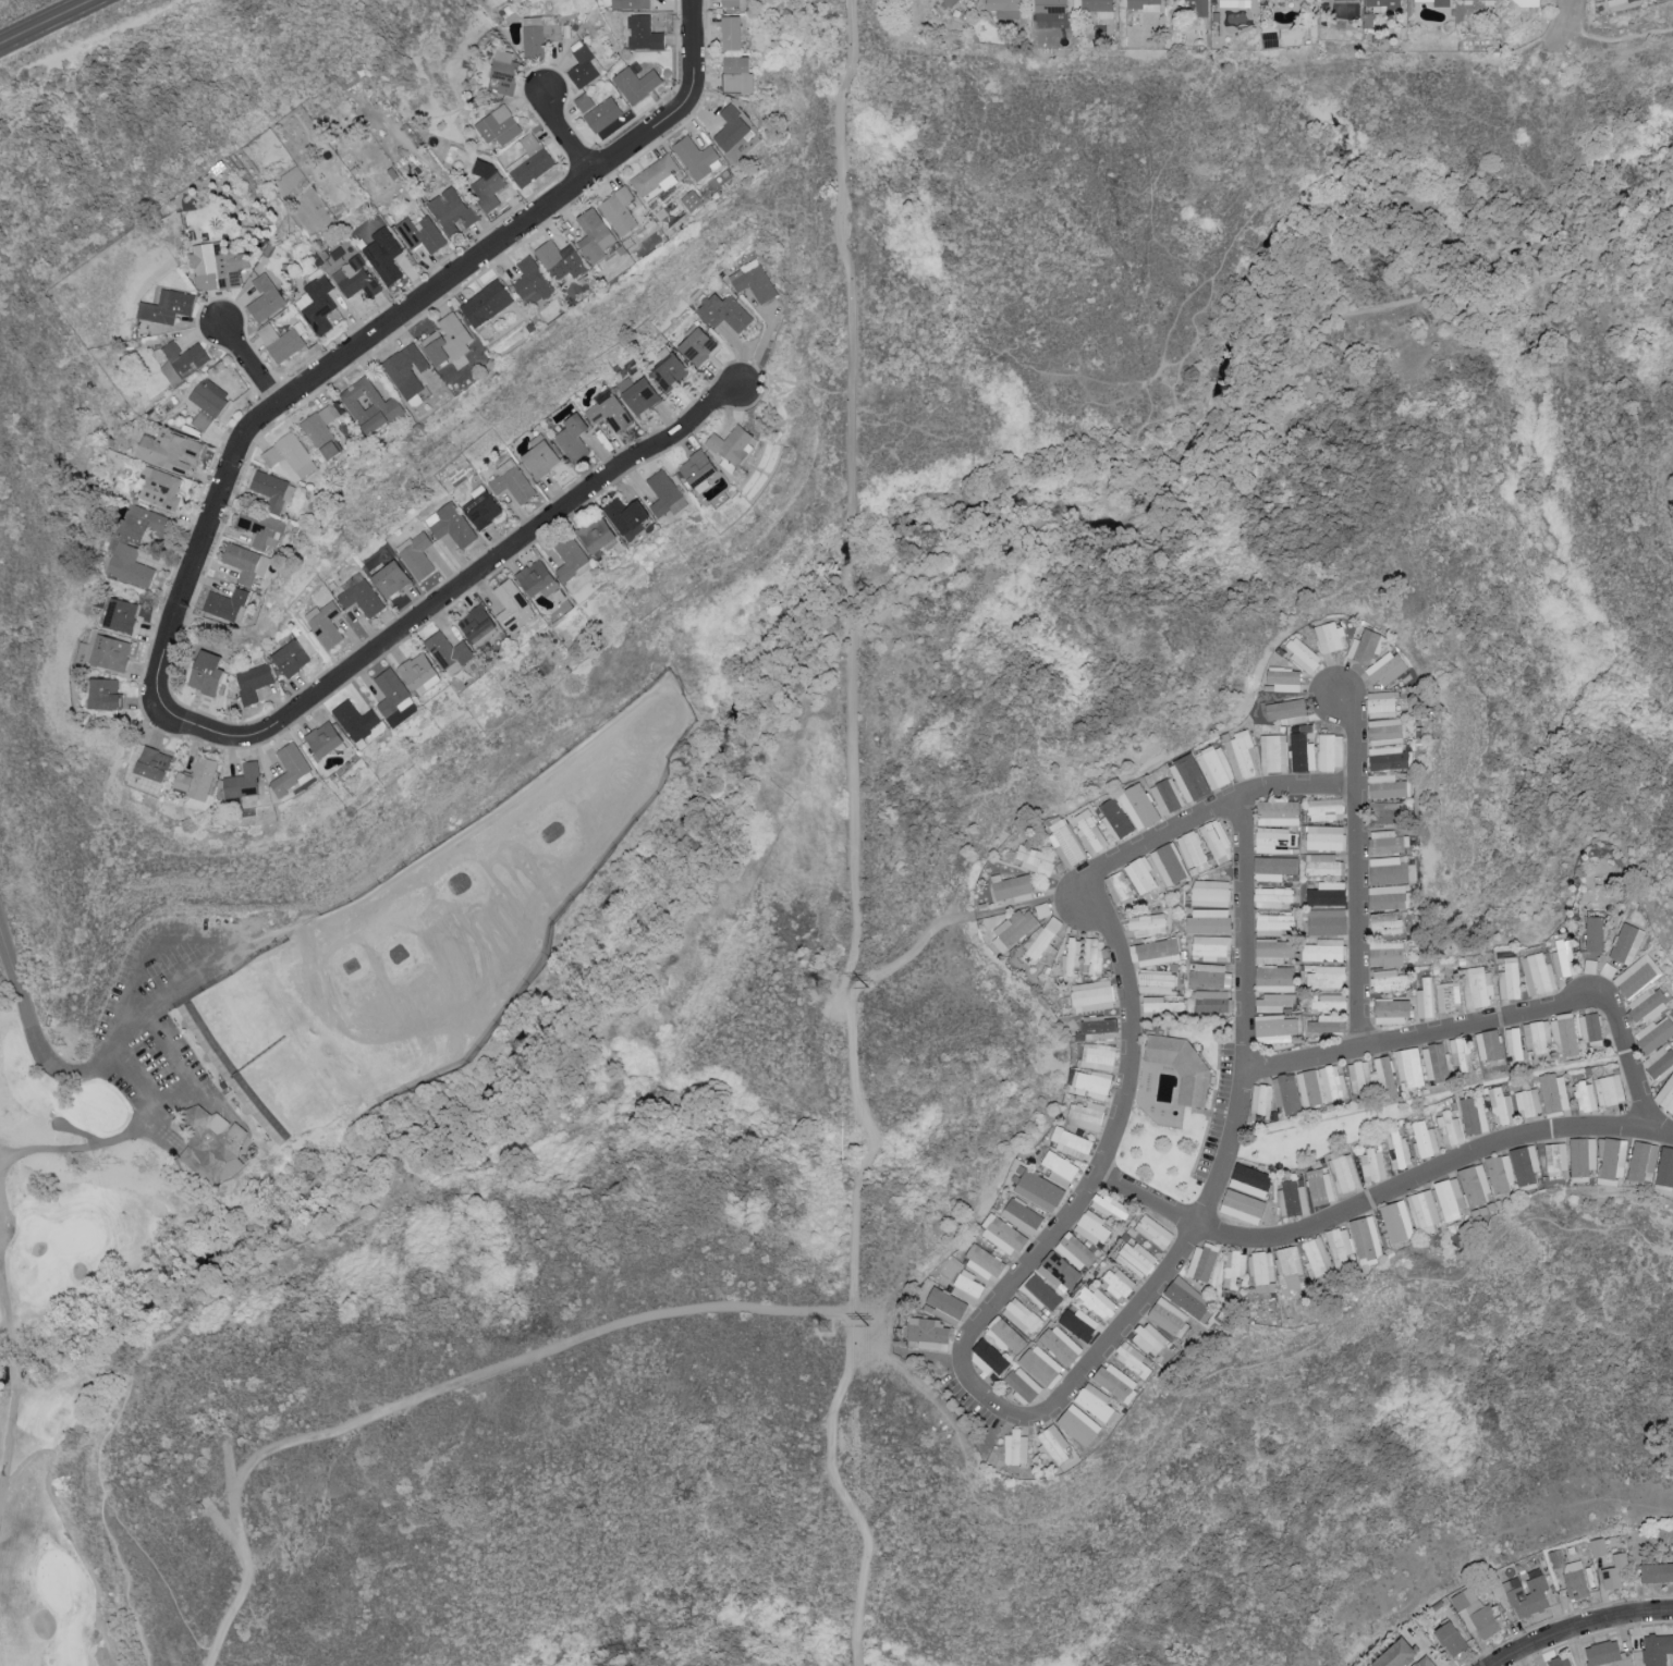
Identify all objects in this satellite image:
building: (1381, 1)
building: (1615, 1)
building: (730, 2)
building: (951, 2)
building: (1234, 2)
building: (1440, 2)
building: (1527, 2)
building: (633, 3)
building: (1143, 3)
building: (1050, 5)
building: (1099, 7)
building: (1197, 7)
building: (1004, 8)
road: (1575, 13)
road: (51, 25)
building: (731, 32)
building: (642, 33)
building: (538, 37)
road: (1620, 39)
road: (696, 47)
building: (583, 64)
building: (503, 70)
building: (737, 73)
building: (635, 83)
building: (583, 100)
building: (601, 113)
building: (498, 124)
building: (731, 127)
road: (560, 133)
building: (696, 156)
building: (529, 160)
building: (656, 174)
building: (487, 187)
building: (691, 199)
building: (450, 209)
building: (619, 209)
building: (420, 232)
building: (594, 234)
road: (1414, 238)
building: (383, 255)
building: (560, 258)
building: (216, 266)
building: (354, 277)
building: (530, 281)
building: (753, 282)
building: (265, 297)
building: (485, 302)
building: (317, 304)
building: (166, 305)
building: (722, 310)
building: (447, 339)
building: (281, 341)
building: (696, 344)
building: (181, 359)
road: (253, 367)
building: (406, 368)
building: (668, 370)
road: (327, 371)
building: (636, 393)
road: (1250, 394)
building: (207, 401)
building: (369, 405)
building: (609, 412)
building: (322, 429)
building: (572, 437)
building: (730, 444)
building: (169, 450)
building: (539, 455)
building: (290, 457)
building: (696, 468)
building: (512, 480)
building: (160, 487)
building: (272, 489)
building: (664, 493)
building: (480, 506)
building: (623, 513)
building: (141, 522)
building: (450, 524)
building: (260, 527)
building: (594, 534)
building: (416, 554)
building: (570, 559)
building: (245, 562)
building: (130, 565)
road: (485, 573)
building: (389, 578)
building: (535, 578)
building: (359, 595)
building: (511, 602)
building: (227, 603)
building: (119, 614)
building: (323, 622)
building: (476, 625)
building: (1329, 636)
building: (1365, 646)
building: (84, 649)
building: (447, 651)
building: (109, 652)
building: (1303, 653)
building: (290, 657)
building: (1384, 669)
building: (205, 672)
building: (418, 673)
building: (1282, 678)
building: (252, 681)
building: (391, 693)
building: (103, 694)
building: (1380, 703)
building: (1286, 710)
building: (354, 719)
building: (1384, 731)
building: (322, 738)
building: (1302, 748)
building: (1330, 750)
building: (1241, 752)
building: (1273, 752)
building: (1388, 758)
building: (151, 763)
building: (1213, 765)
building: (290, 767)
building: (1188, 777)
building: (195, 779)
building: (242, 781)
building: (1385, 785)
building: (1165, 795)
building: (1138, 805)
building: (1326, 808)
building: (1381, 809)
building: (1279, 811)
building: (1114, 819)
building: (1089, 831)
building: (1324, 836)
road: (850, 837)
building: (1274, 840)
building: (1217, 841)
building: (1064, 842)
building: (1385, 842)
building: (1193, 850)
building: (1034, 859)
building: (1169, 863)
building: (1323, 863)
building: (1273, 867)
road: (1357, 869)
building: (1388, 869)
building: (1141, 874)
building: (1011, 885)
building: (1120, 887)
building: (1210, 892)
building: (1327, 893)
building: (1272, 896)
building: (1388, 896)
park: (822, 899)
road: (1030, 904)
building: (1042, 909)
building: (1207, 918)
building: (1327, 920)
building: (1274, 922)
building: (1148, 923)
building: (1384, 923)
building: (1012, 928)
building: (1593, 933)
building: (1043, 935)
road: (197, 936)
building: (1626, 943)
building: (1211, 946)
building: (1323, 950)
building: (1273, 951)
road: (915, 952)
building: (1155, 952)
building: (1385, 953)
building: (1094, 955)
building: (1072, 956)
building: (1563, 957)
building: (1589, 965)
building: (1538, 973)
building: (1209, 975)
building: (1637, 975)
building: (1326, 976)
building: (1274, 978)
building: (1510, 978)
building: (1389, 979)
building: (1157, 980)
building: (1477, 985)
power tower: (822, 988)
power tower: (868, 988)
building: (1092, 994)
building: (1448, 996)
building: (1426, 997)
building: (1211, 1001)
building: (1273, 1002)
building: (1329, 1002)
building: (1161, 1004)
building: (1647, 1004)
building: (1391, 1010)
road: (1499, 1015)
parking lot: (163, 1019)
building: (1328, 1022)
building: (1097, 1027)
building: (1274, 1028)
building: (1590, 1028)
building: (1653, 1033)
building: (1539, 1034)
building: (1564, 1034)
building: (1514, 1042)
building: (1489, 1044)
building: (1462, 1054)
building: (1098, 1055)
building: (1659, 1061)
road: (103, 1062)
building: (1436, 1062)
building: (1181, 1063)
building: (1409, 1066)
building: (1358, 1076)
building: (1385, 1077)
building: (1332, 1082)
building: (1092, 1083)
building: (1308, 1087)
building: (1609, 1089)
road: (182, 1090)
building: (1285, 1092)
building: (1554, 1092)
building: (1665, 1094)
building: (1585, 1095)
park: (269, 1099)
road: (503, 1099)
building: (1261, 1101)
building: (1528, 1101)
building: (1500, 1104)
park: (97, 1106)
building: (1087, 1114)
road: (66, 1128)
building: (1450, 1128)
building: (1425, 1139)
building: (1071, 1141)
building: (215, 1143)
building: (1399, 1149)
building: (1582, 1157)
building: (1612, 1157)
building: (1555, 1159)
building: (1641, 1160)
building: (1373, 1164)
building: (1524, 1165)
building: (1059, 1167)
building: (1665, 1167)
building: (1345, 1172)
building: (1499, 1173)
building: (1249, 1179)
road: (190, 1181)
building: (1474, 1185)
building: (1320, 1186)
building: (1038, 1190)
building: (1293, 1197)
road: (1382, 1198)
building: (1449, 1198)
building: (1240, 1203)
building: (1111, 1206)
building: (1422, 1210)
building: (1022, 1215)
building: (1396, 1221)
building: (1092, 1226)
building: (1153, 1230)
building: (1002, 1234)
park: (74, 1237)
building: (1366, 1239)
road: (5, 1241)
building: (1340, 1245)
road: (241, 1249)
building: (1075, 1250)
building: (1316, 1257)
building: (1136, 1258)
road: (251, 1261)
building: (1202, 1261)
building: (985, 1262)
building: (1289, 1265)
building: (1234, 1270)
building: (1262, 1270)
building: (1058, 1271)
building: (1118, 1282)
building: (966, 1286)
building: (1040, 1293)
building: (1184, 1293)
building: (1097, 1300)
building: (945, 1302)
building: (1023, 1315)
building: (1169, 1315)
building: (1078, 1322)
power tower: (869, 1327)
power tower: (825, 1330)
building: (926, 1331)
building: (1006, 1335)
road: (972, 1338)
building: (1149, 1338)
building: (1061, 1344)
building: (988, 1357)
building: (1134, 1359)
building: (1041, 1364)
building: (1115, 1382)
building: (1023, 1384)
road: (441, 1388)
building: (1095, 1402)
building: (1077, 1424)
building: (1052, 1445)
building: (1014, 1450)
road: (69, 1529)
building: (1598, 1545)
building: (1615, 1570)
building: (1657, 1571)
building: (1571, 1572)
road: (159, 1578)
road: (129, 1581)
park: (58, 1584)
building: (1527, 1594)
building: (1475, 1612)
road: (1585, 1629)
building: (1450, 1637)
building: (1657, 1647)
building: (1604, 1652)
building: (1395, 1654)
building: (1424, 1661)
building: (1560, 1661)

